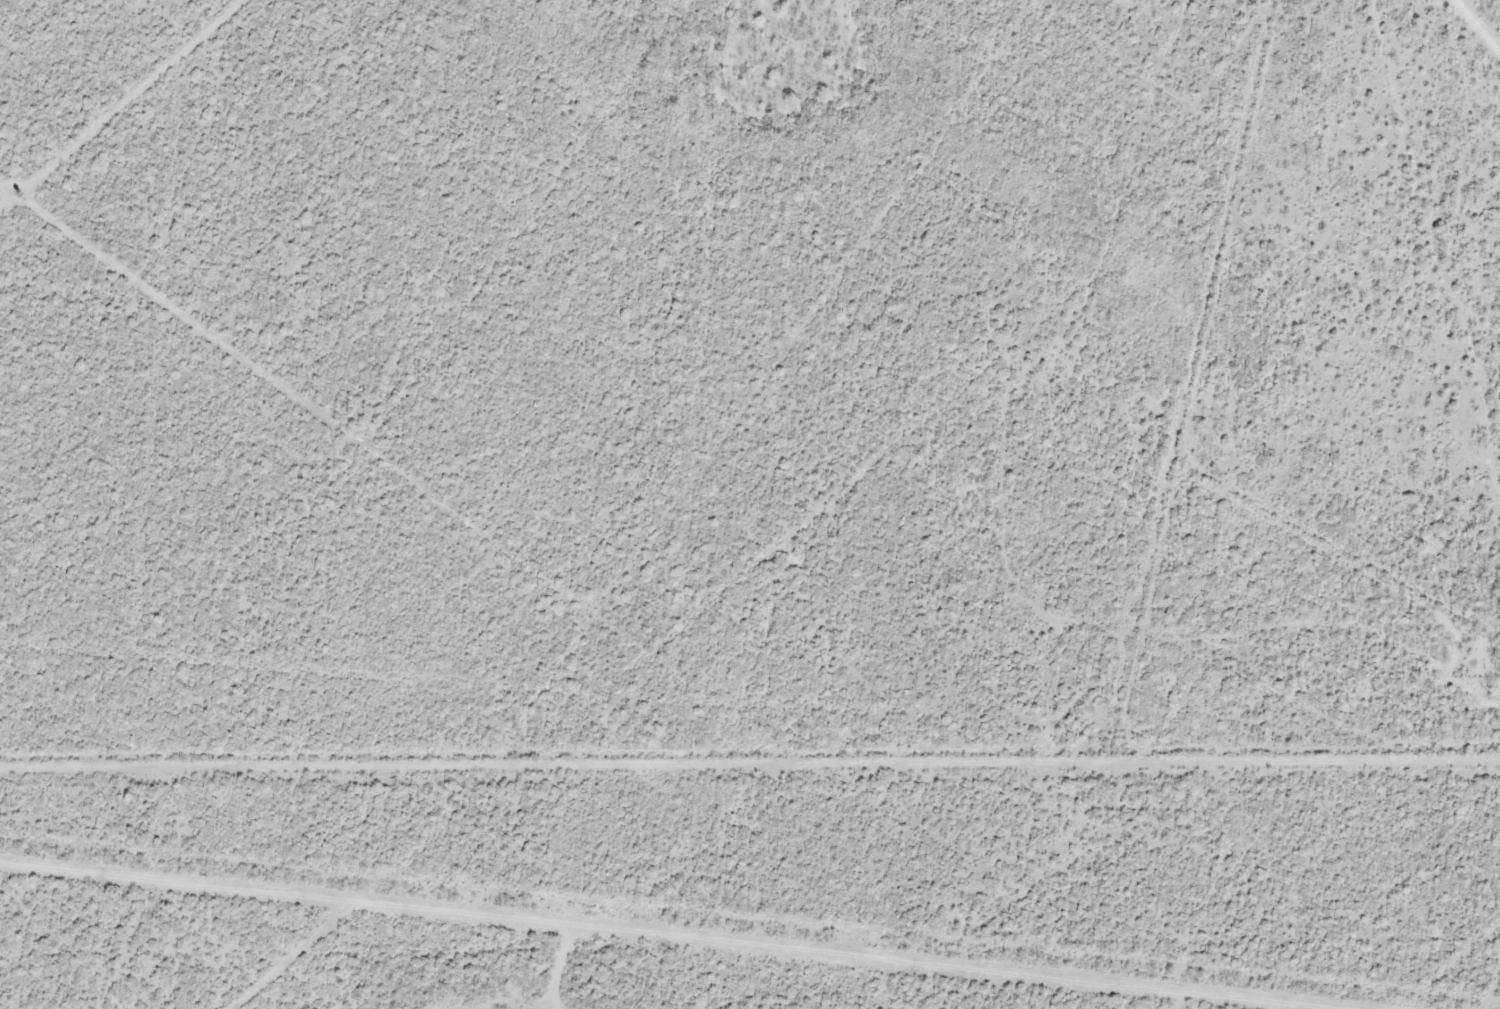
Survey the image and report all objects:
road: (1460, 156)
road: (749, 804)

